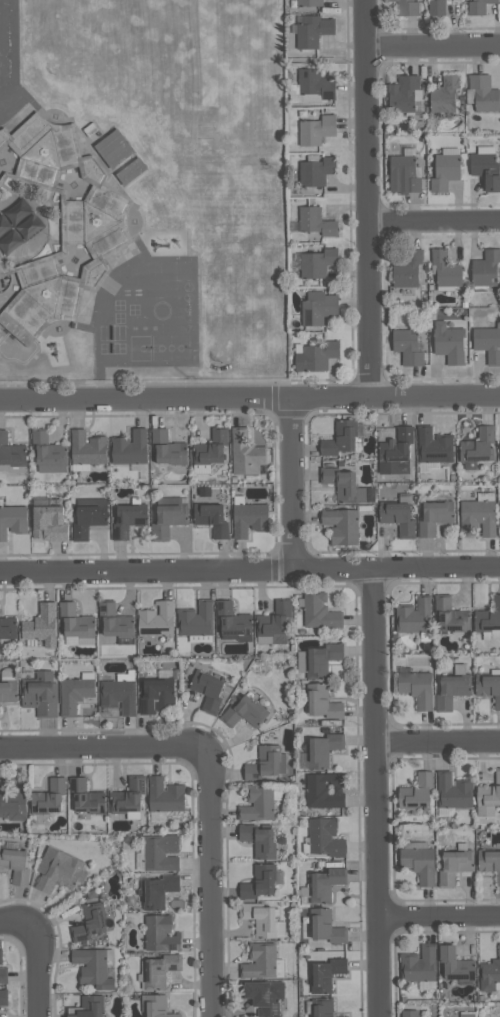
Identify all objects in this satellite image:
building: (308, 2)
building: (478, 6)
building: (405, 7)
building: (435, 7)
building: (312, 30)
road: (433, 45)
building: (315, 84)
building: (402, 93)
building: (443, 94)
building: (482, 94)
building: (316, 130)
building: (114, 148)
building: (445, 170)
building: (485, 170)
building: (131, 171)
building: (315, 171)
building: (402, 174)
road: (368, 198)
road: (434, 220)
building: (315, 222)
building: (93, 229)
building: (317, 263)
building: (406, 268)
building: (485, 268)
building: (444, 270)
building: (317, 308)
building: (448, 343)
building: (487, 344)
building: (406, 347)
building: (315, 357)
road: (249, 398)
building: (339, 438)
building: (433, 446)
building: (210, 447)
building: (129, 448)
building: (477, 448)
building: (86, 449)
building: (167, 449)
building: (11, 452)
building: (394, 452)
building: (245, 453)
building: (48, 454)
road: (291, 485)
building: (342, 485)
building: (41, 501)
building: (87, 516)
building: (167, 517)
building: (433, 517)
building: (396, 518)
building: (477, 518)
building: (210, 519)
building: (248, 519)
building: (12, 520)
building: (127, 520)
building: (48, 524)
building: (340, 526)
building: (499, 529)
road: (395, 570)
road: (146, 573)
building: (318, 611)
building: (413, 616)
building: (449, 616)
building: (487, 617)
building: (195, 620)
building: (230, 620)
building: (273, 620)
building: (156, 621)
building: (75, 622)
building: (114, 622)
building: (41, 626)
building: (6, 627)
building: (321, 659)
building: (415, 688)
building: (488, 688)
building: (206, 690)
building: (450, 691)
building: (8, 692)
building: (40, 694)
building: (74, 694)
building: (154, 695)
building: (118, 696)
building: (321, 702)
building: (243, 713)
road: (437, 740)
road: (104, 747)
building: (322, 751)
building: (265, 763)
building: (323, 790)
building: (452, 791)
building: (415, 792)
road: (375, 794)
building: (163, 796)
building: (48, 797)
building: (126, 797)
building: (488, 797)
building: (85, 798)
building: (11, 804)
building: (257, 804)
building: (324, 838)
building: (257, 841)
building: (159, 853)
building: (488, 863)
building: (14, 864)
building: (418, 864)
building: (453, 866)
building: (57, 870)
road: (209, 881)
building: (258, 882)
building: (324, 885)
building: (156, 892)
road: (439, 918)
building: (259, 919)
building: (89, 922)
road: (18, 926)
building: (325, 927)
building: (160, 934)
building: (1, 956)
building: (259, 961)
building: (454, 964)
building: (418, 965)
building: (91, 968)
road: (36, 971)
building: (159, 971)
building: (490, 973)
building: (325, 975)
building: (3, 976)
building: (262, 996)
building: (3, 997)
building: (154, 1006)
building: (87, 1007)
building: (320, 1007)
building: (409, 1014)
building: (467, 1015)

